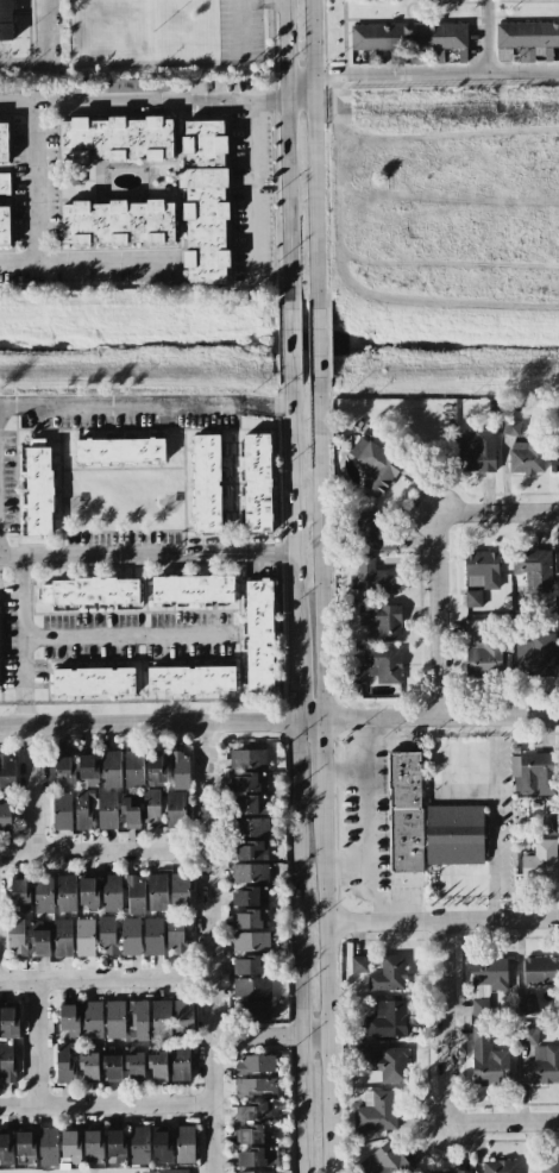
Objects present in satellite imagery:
building: (6, 20)
road: (45, 31)
road: (489, 36)
building: (408, 37)
building: (526, 39)
road: (23, 63)
road: (436, 73)
building: (134, 86)
road: (299, 89)
road: (142, 101)
building: (117, 139)
building: (4, 143)
road: (316, 155)
road: (284, 156)
road: (36, 181)
building: (4, 183)
building: (205, 200)
road: (251, 205)
building: (117, 222)
building: (4, 226)
road: (82, 259)
road: (319, 344)
road: (289, 345)
road: (118, 406)
road: (264, 407)
building: (510, 427)
building: (119, 450)
building: (476, 451)
building: (527, 456)
building: (554, 460)
building: (375, 465)
building: (207, 482)
building: (257, 482)
building: (38, 487)
road: (291, 507)
building: (375, 532)
road: (322, 547)
road: (235, 554)
road: (89, 557)
road: (440, 559)
building: (481, 569)
building: (532, 572)
building: (372, 577)
building: (558, 588)
building: (193, 589)
building: (89, 591)
building: (472, 598)
building: (381, 621)
road: (23, 629)
building: (259, 635)
road: (127, 639)
building: (481, 651)
building: (536, 655)
building: (377, 666)
building: (558, 671)
road: (296, 677)
building: (191, 679)
building: (93, 680)
road: (23, 713)
road: (441, 716)
road: (312, 719)
road: (149, 723)
road: (325, 757)
building: (247, 758)
building: (133, 767)
building: (111, 769)
building: (88, 770)
building: (156, 770)
building: (180, 770)
building: (64, 771)
building: (7, 772)
building: (533, 773)
building: (247, 780)
road: (33, 789)
building: (249, 804)
building: (151, 807)
building: (86, 808)
building: (107, 809)
building: (175, 809)
building: (404, 809)
building: (62, 810)
building: (130, 811)
building: (5, 815)
road: (496, 817)
road: (363, 820)
building: (552, 820)
building: (250, 827)
building: (454, 834)
building: (250, 848)
road: (103, 852)
building: (540, 861)
building: (250, 872)
building: (157, 891)
building: (180, 891)
building: (112, 892)
building: (43, 893)
building: (65, 893)
building: (88, 893)
building: (134, 893)
building: (19, 895)
building: (250, 896)
building: (249, 918)
road: (442, 920)
building: (175, 934)
building: (17, 935)
building: (108, 935)
building: (131, 935)
building: (152, 935)
building: (63, 936)
building: (84, 936)
building: (39, 937)
building: (251, 940)
road: (209, 947)
road: (301, 947)
building: (358, 964)
building: (251, 965)
building: (540, 970)
building: (389, 974)
road: (105, 977)
building: (486, 981)
road: (329, 984)
building: (251, 986)
building: (527, 1004)
building: (251, 1009)
building: (159, 1017)
building: (183, 1017)
building: (92, 1018)
building: (69, 1020)
building: (115, 1020)
building: (387, 1020)
building: (8, 1022)
building: (138, 1022)
building: (528, 1036)
road: (270, 1037)
road: (39, 1042)
building: (488, 1060)
building: (65, 1061)
building: (180, 1061)
building: (6, 1062)
building: (255, 1064)
building: (389, 1064)
building: (158, 1065)
building: (544, 1065)
building: (89, 1066)
building: (112, 1066)
building: (134, 1066)
road: (447, 1075)
building: (255, 1089)
road: (106, 1104)
building: (255, 1111)
building: (375, 1111)
building: (255, 1134)
building: (184, 1143)
building: (70, 1144)
building: (93, 1144)
building: (115, 1144)
building: (138, 1144)
building: (162, 1146)
building: (48, 1147)
building: (6, 1148)
building: (25, 1148)
building: (256, 1156)
building: (384, 1161)
building: (500, 1166)
building: (548, 1166)
building: (256, 1169)
building: (164, 1171)
building: (451, 1172)

